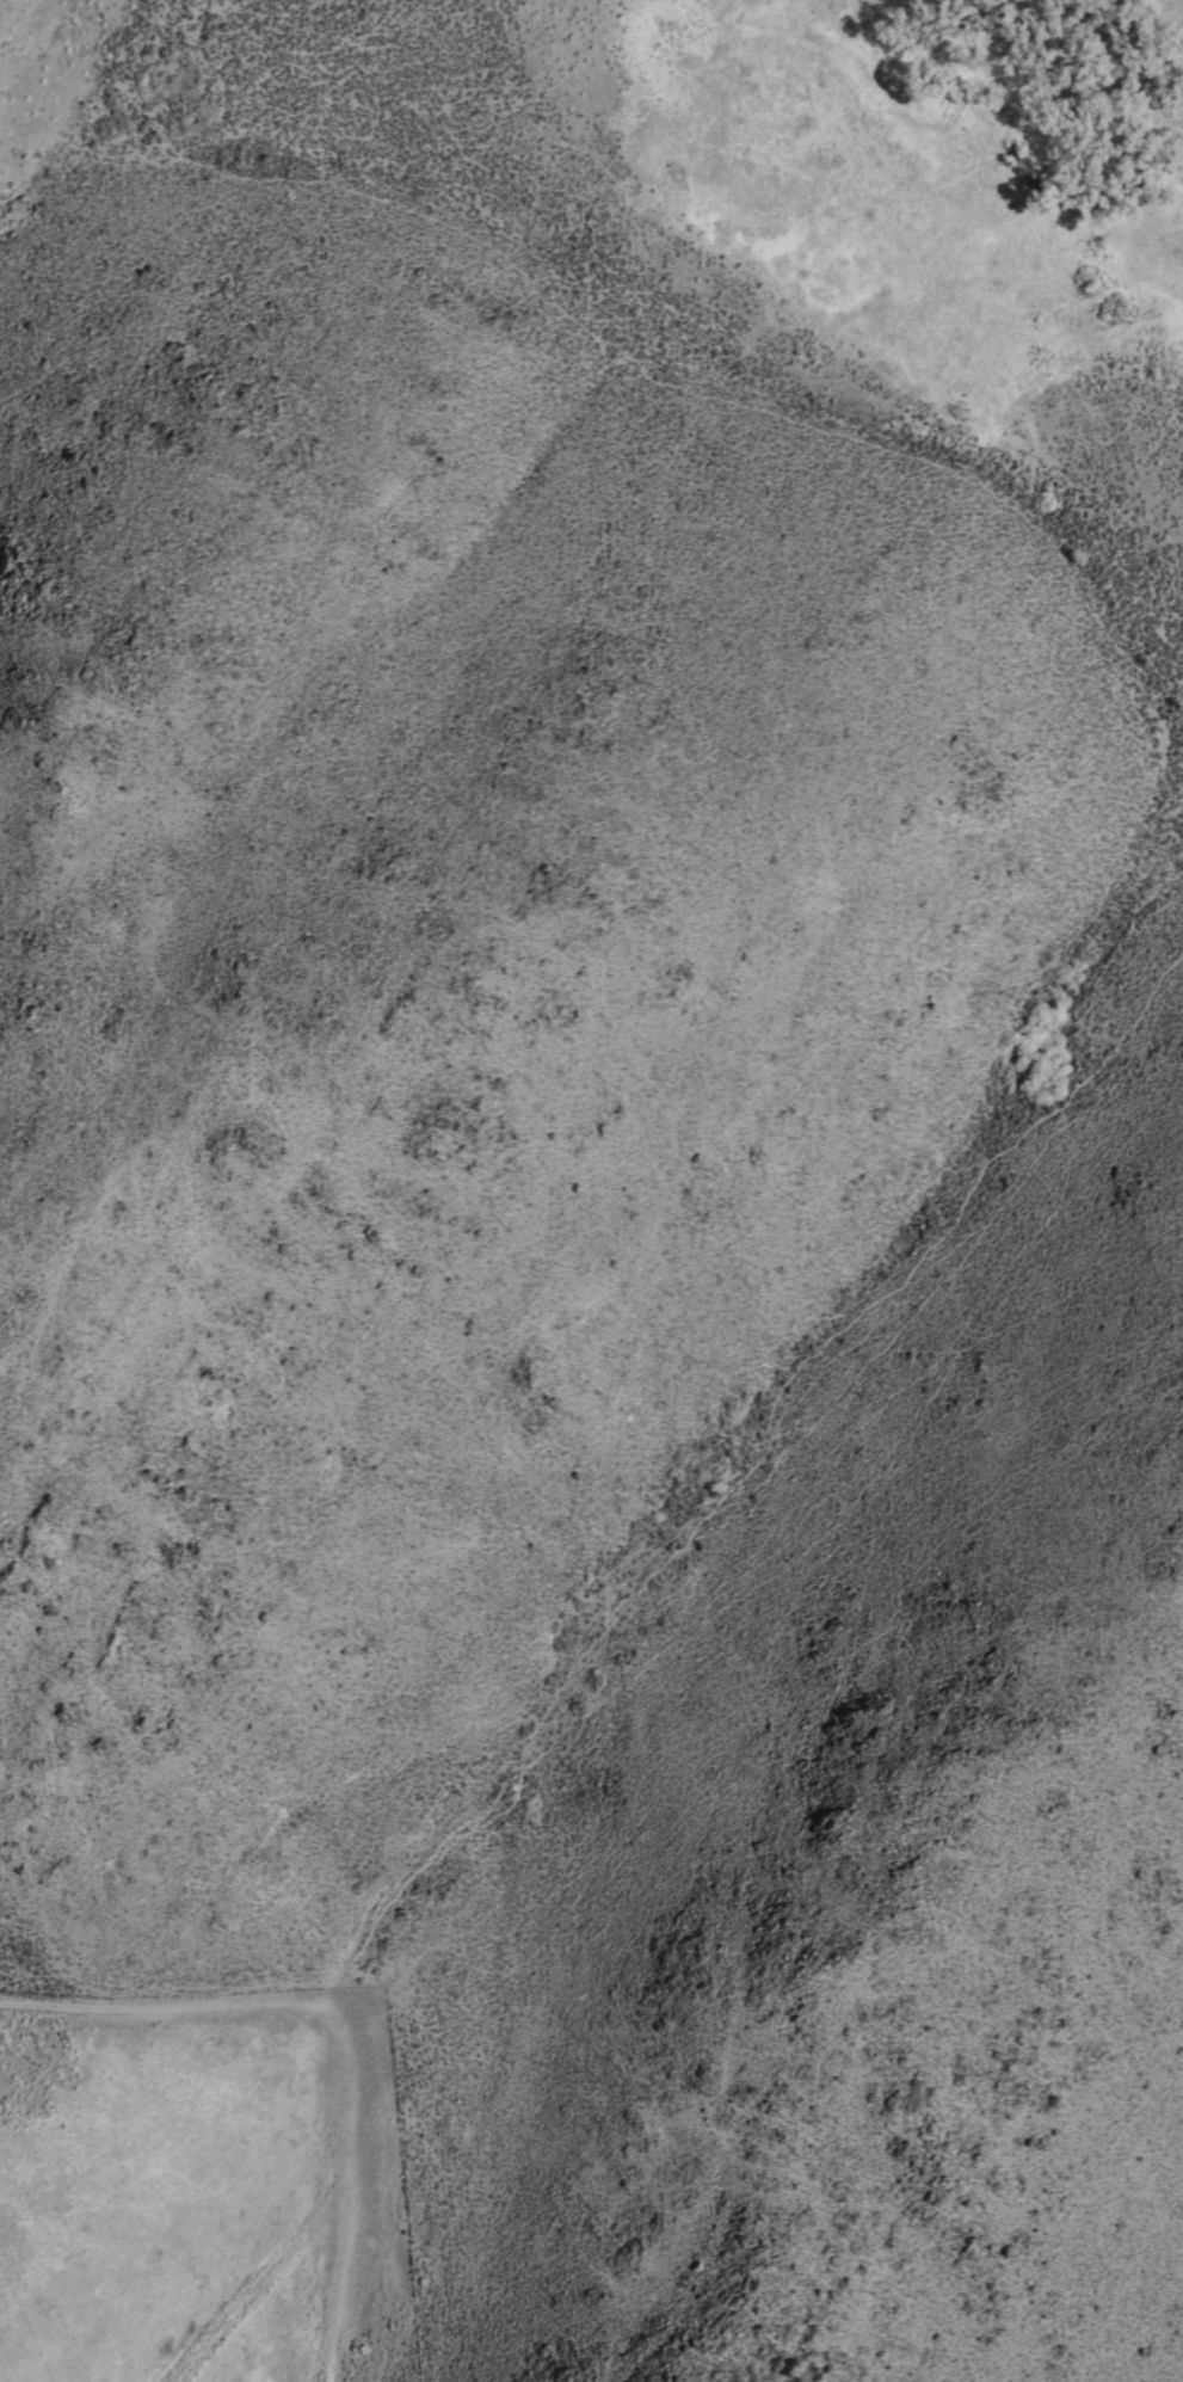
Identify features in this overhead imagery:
road: (344, 2030)

